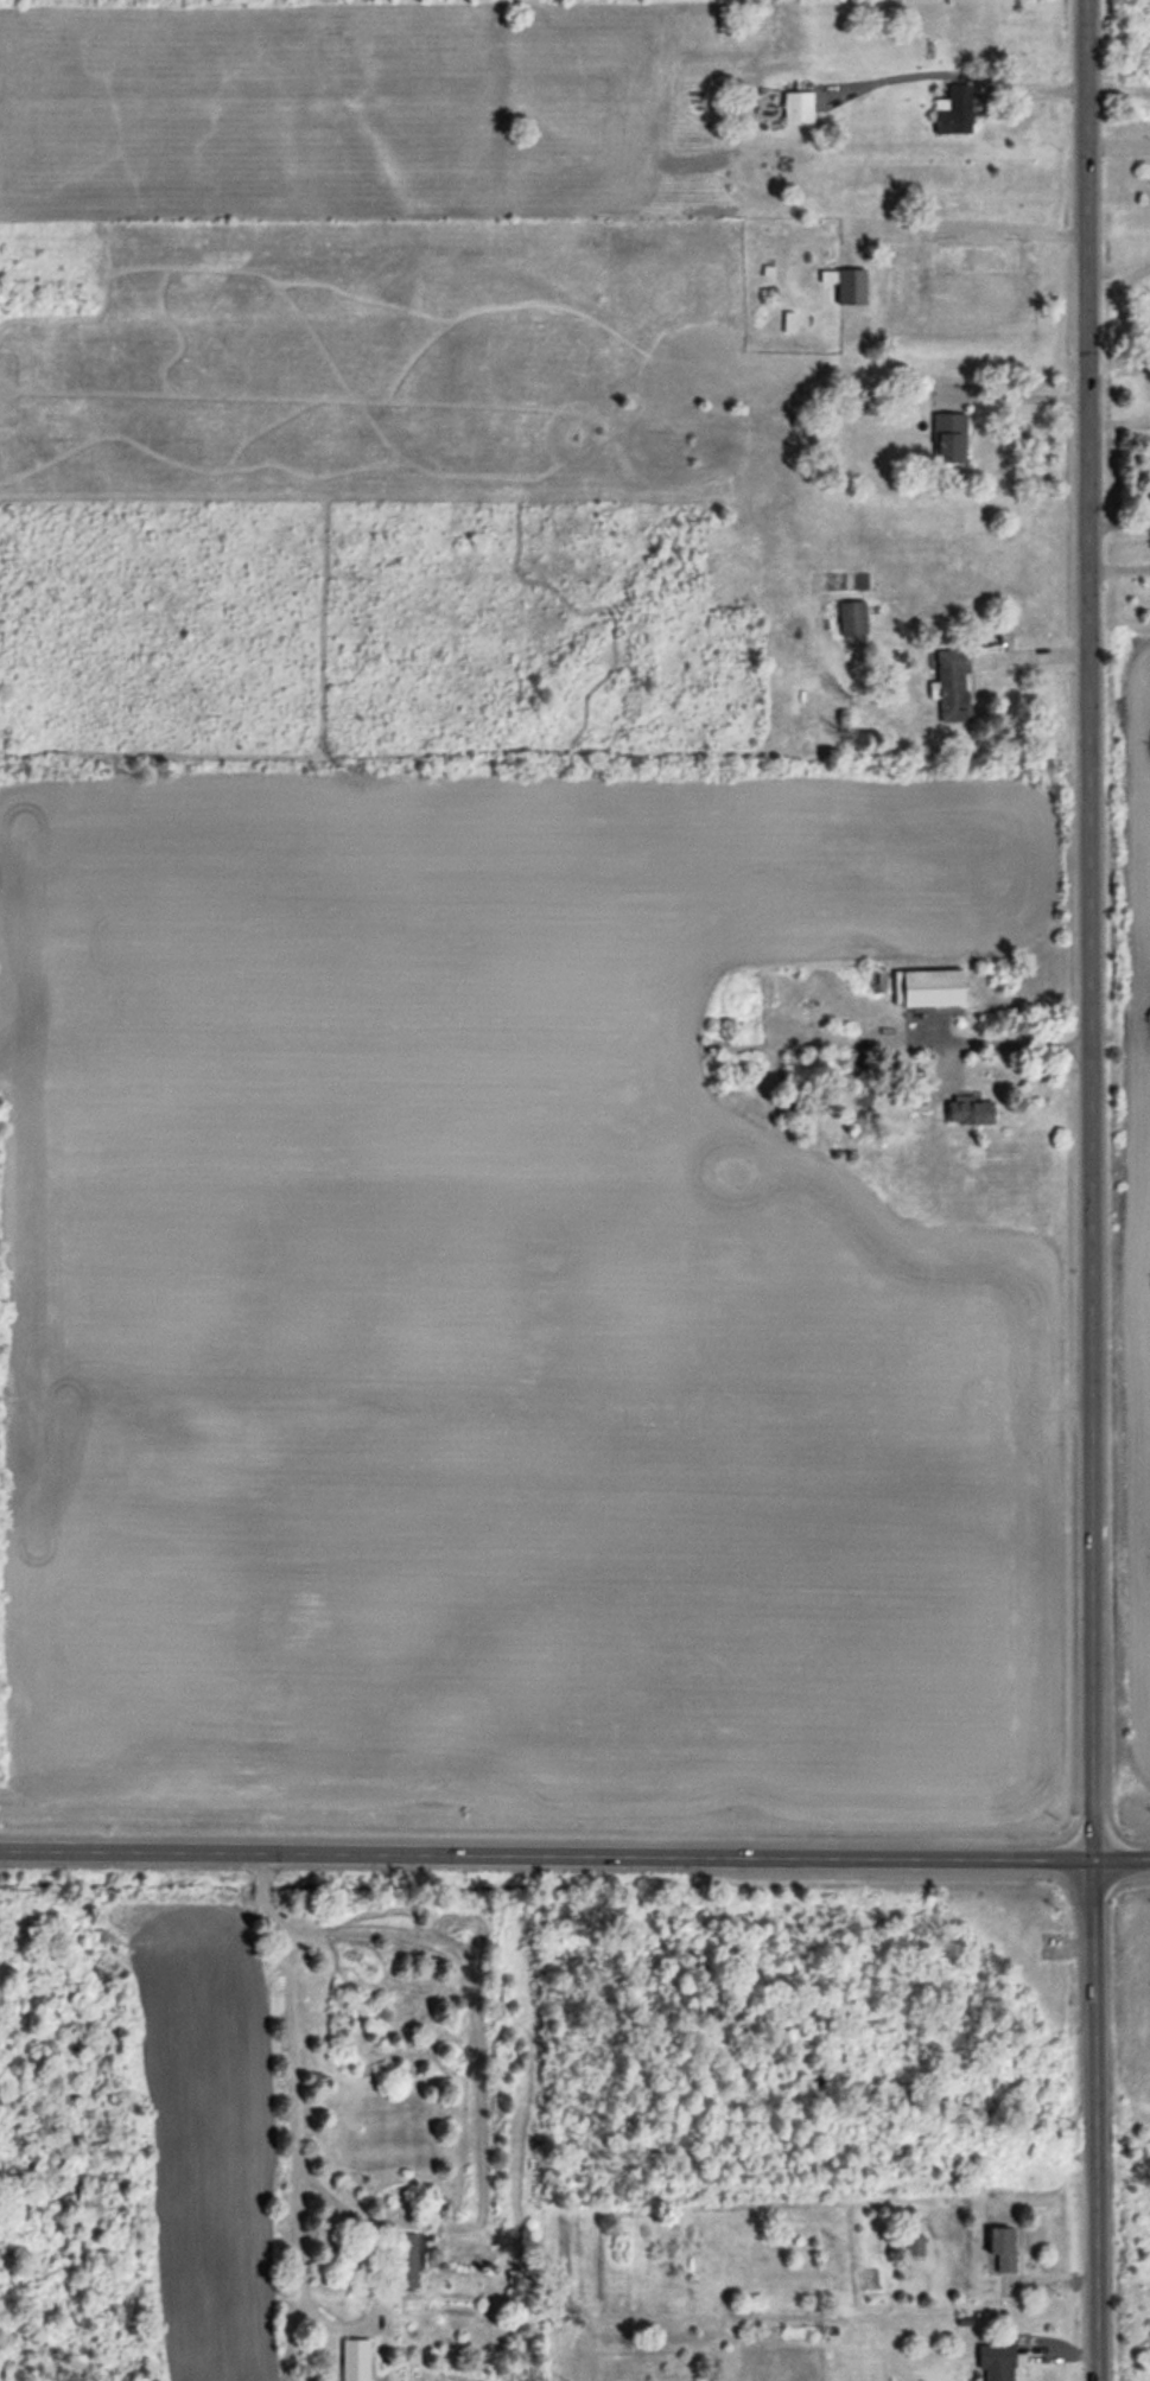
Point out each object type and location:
road: (1017, 89)
building: (798, 109)
building: (953, 113)
road: (1009, 234)
building: (845, 286)
road: (1010, 396)
building: (948, 440)
road: (1119, 523)
building: (852, 619)
building: (952, 686)
building: (877, 982)
building: (930, 989)
road: (1011, 1042)
building: (968, 1115)
road: (1091, 1190)
road: (574, 1851)
road: (292, 2207)
building: (914, 2246)
building: (1000, 2247)
building: (405, 2261)
building: (355, 2360)
building: (995, 2362)

